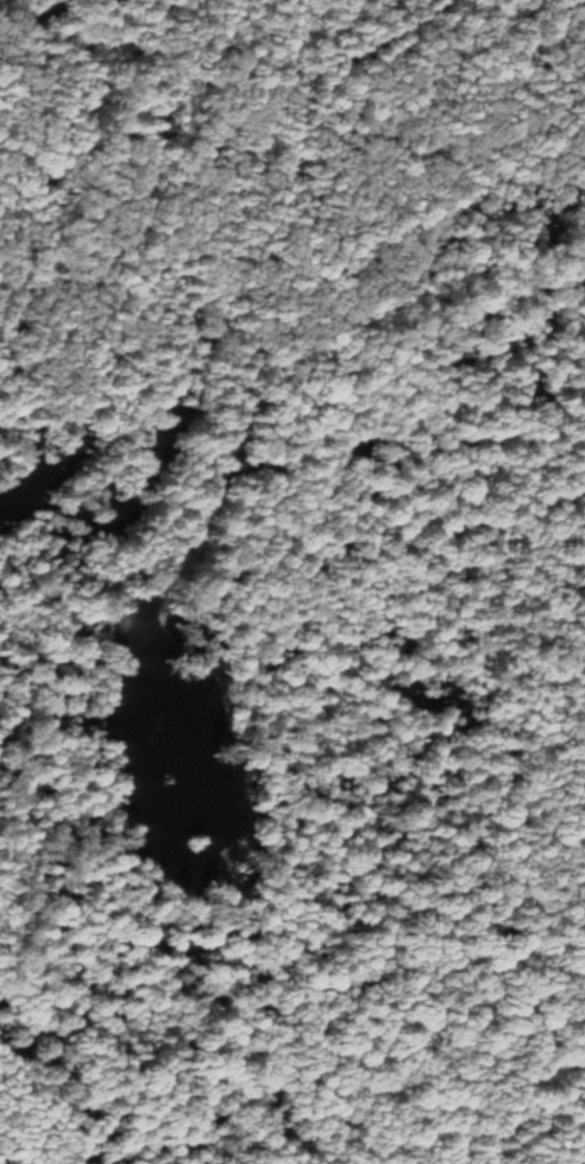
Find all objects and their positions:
road: (43, 11)

